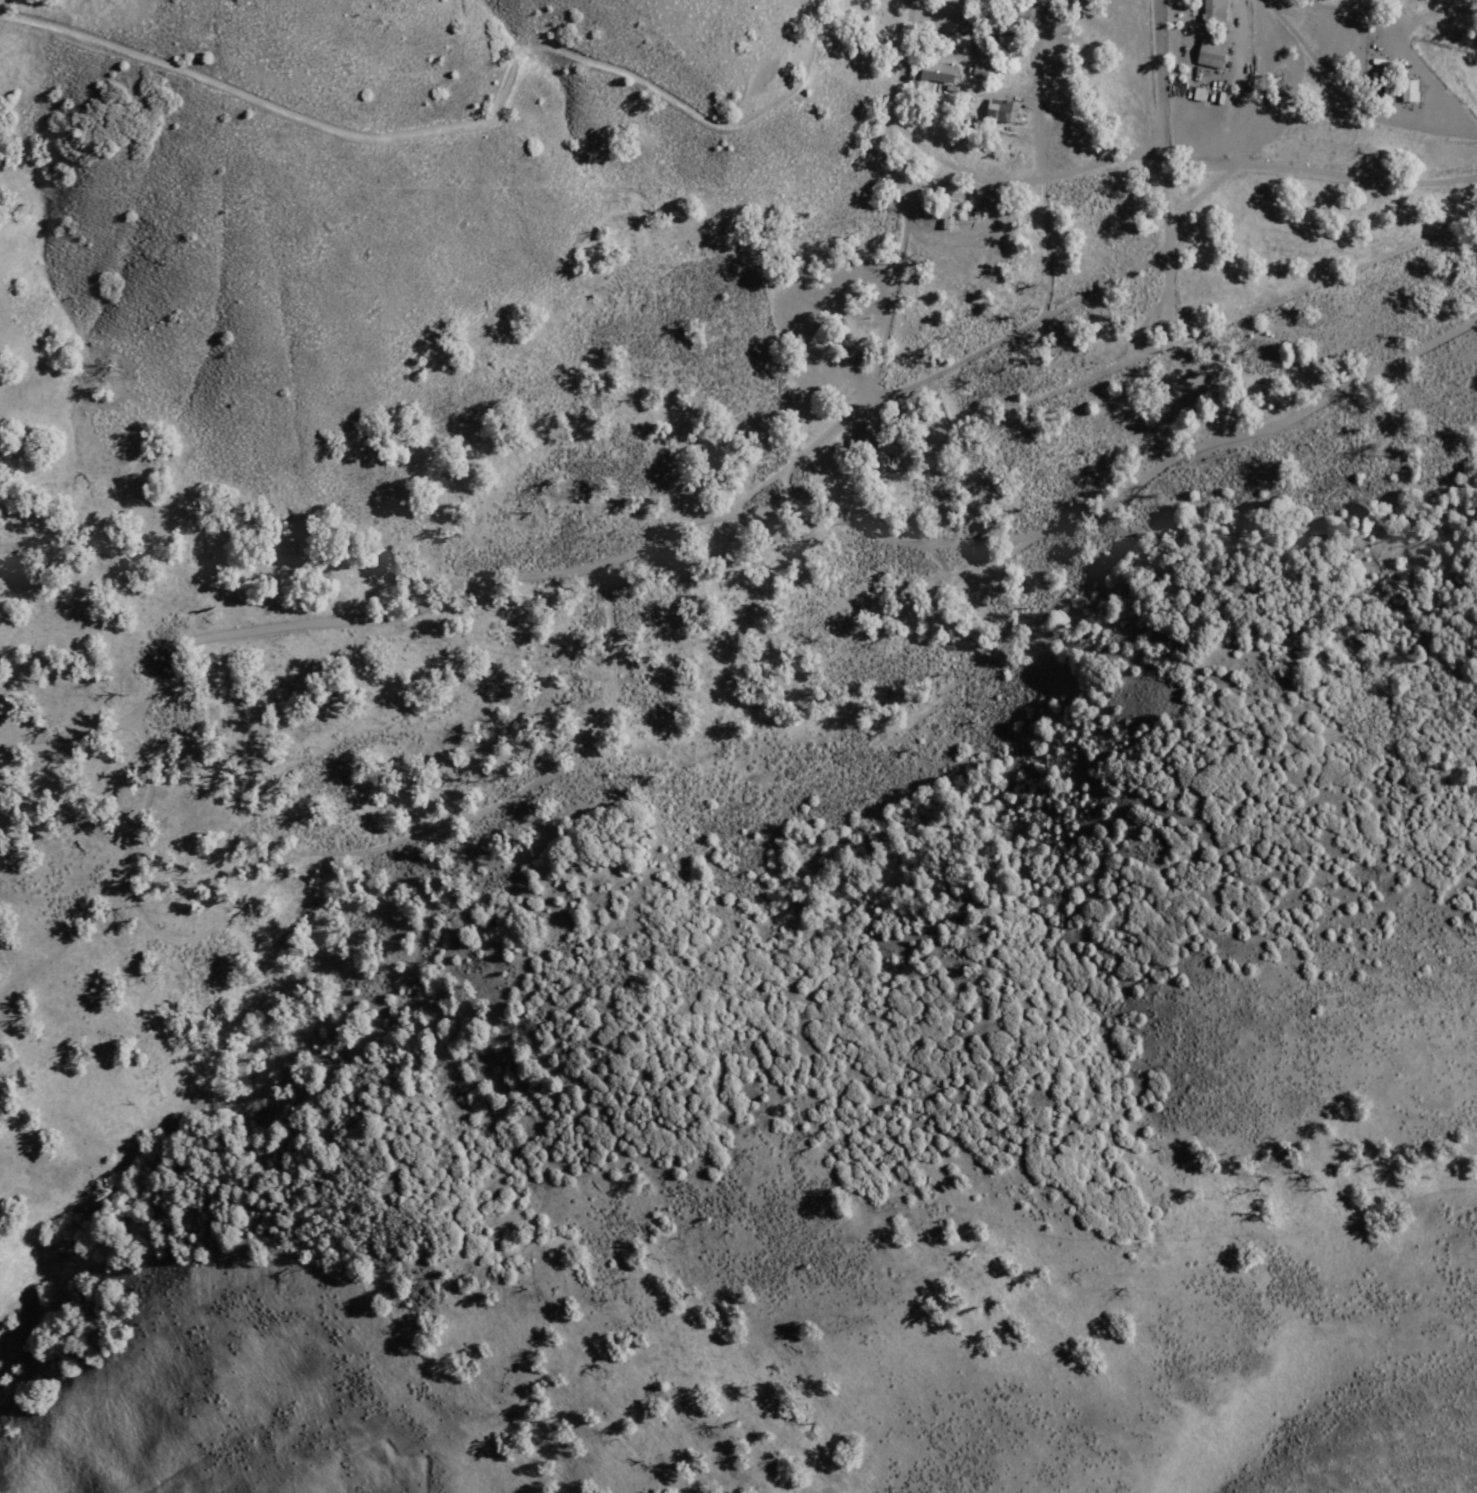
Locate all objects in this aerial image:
building: (1212, 11)
road: (1384, 17)
building: (1209, 55)
road: (1420, 66)
building: (934, 73)
building: (1407, 92)
building: (998, 112)
road: (1254, 157)
road: (1035, 158)
road: (895, 202)
building: (945, 216)
road: (992, 337)
building: (862, 438)
road: (647, 537)
road: (68, 732)
road: (414, 828)

